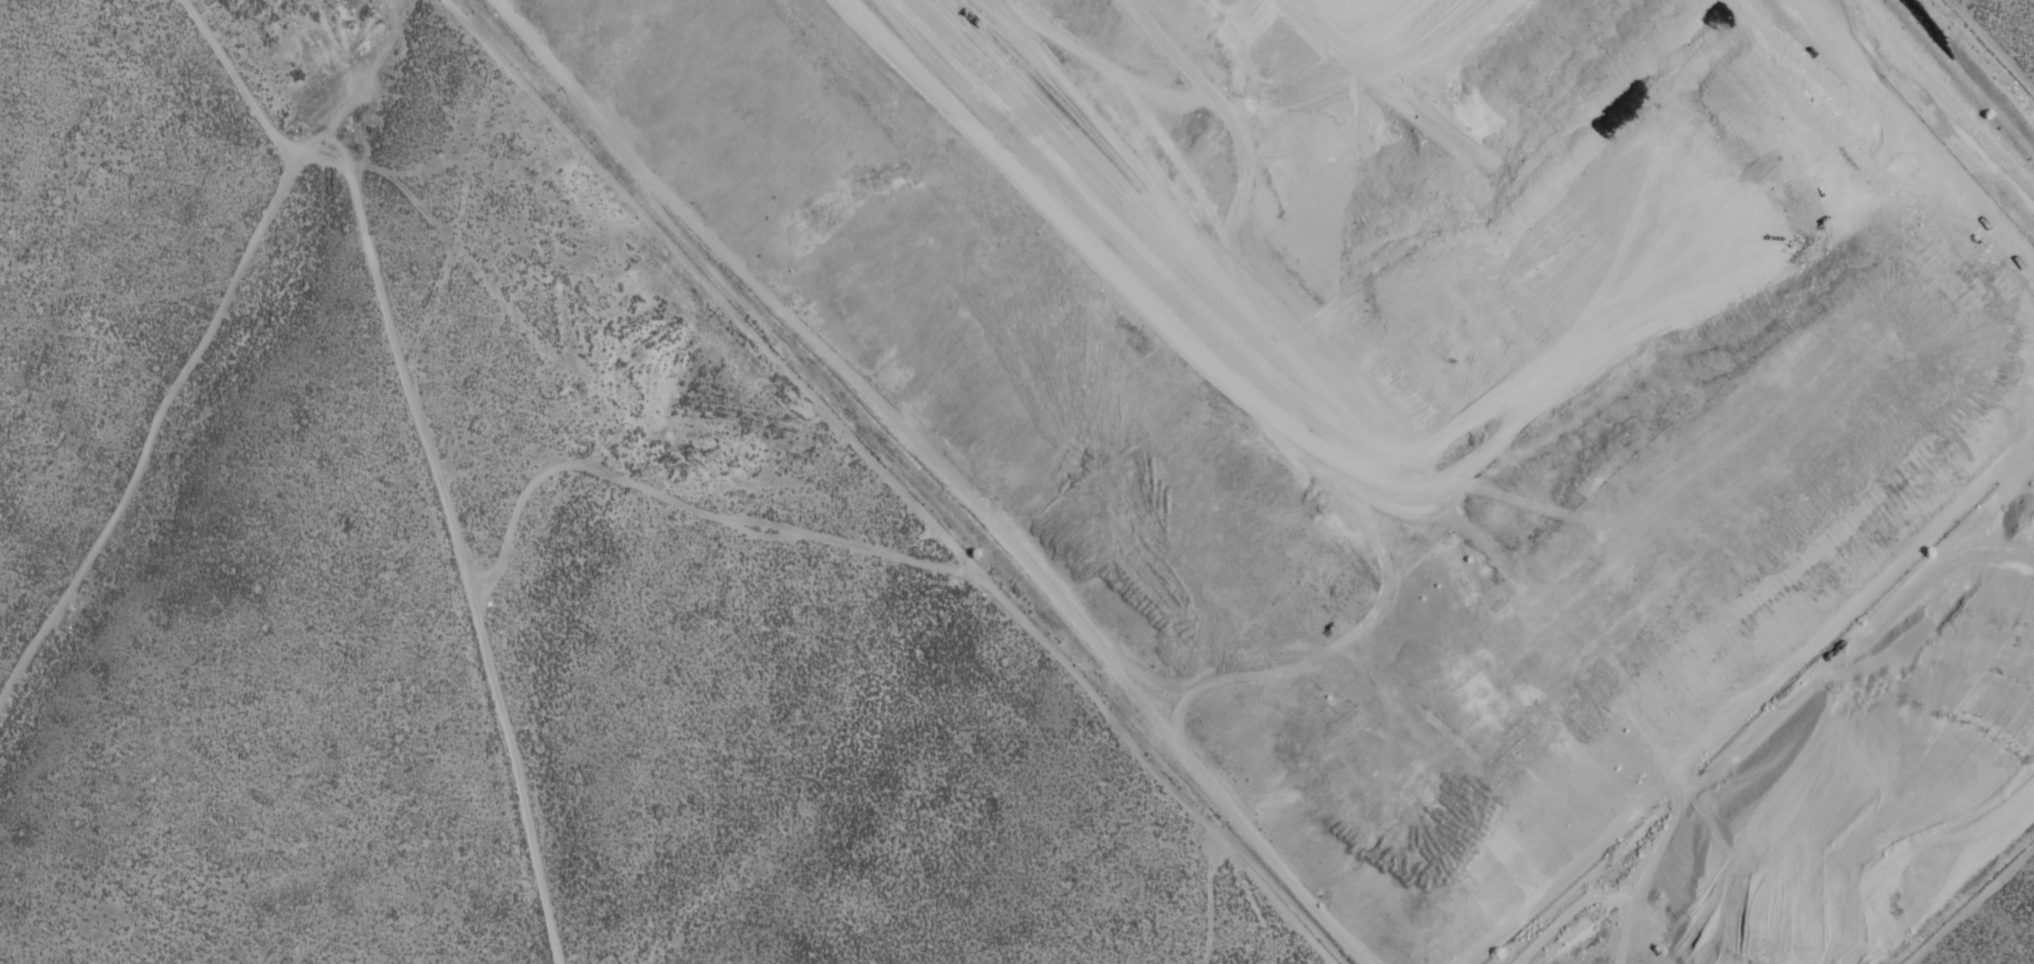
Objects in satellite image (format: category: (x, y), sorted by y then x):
landfill: (1421, 418)

